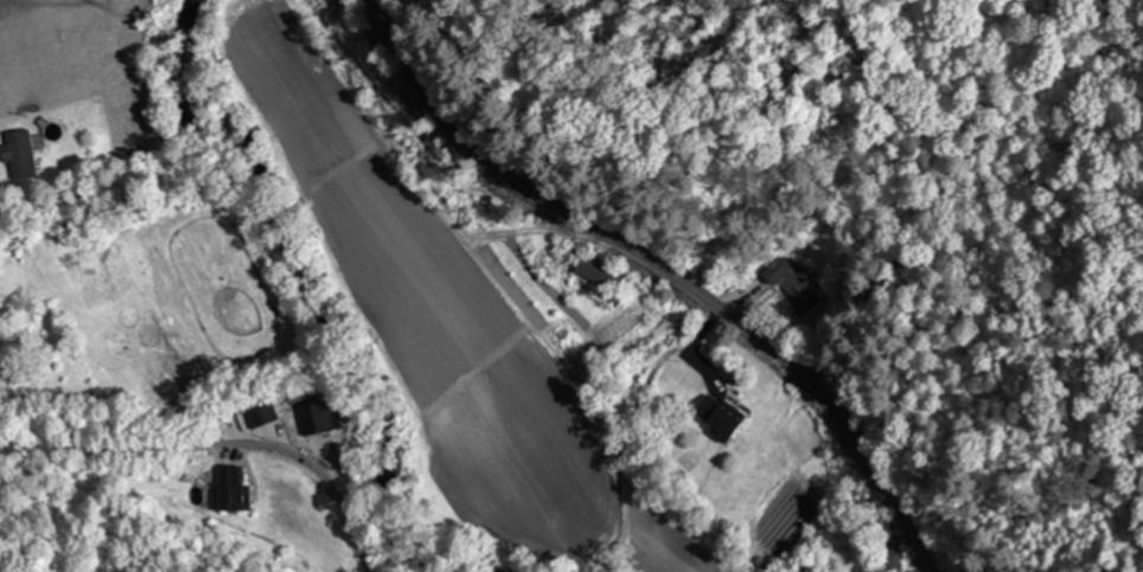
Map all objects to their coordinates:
building: (24, 155)
road: (664, 270)
building: (595, 271)
building: (791, 283)
building: (4, 361)
building: (320, 414)
building: (715, 416)
building: (229, 489)
building: (888, 549)
building: (809, 566)

